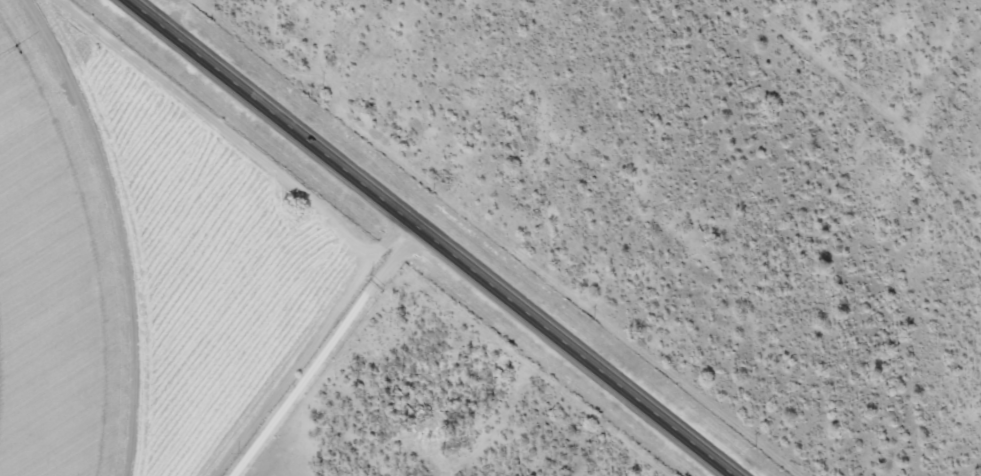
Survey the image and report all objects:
road: (429, 238)
railway: (488, 238)

